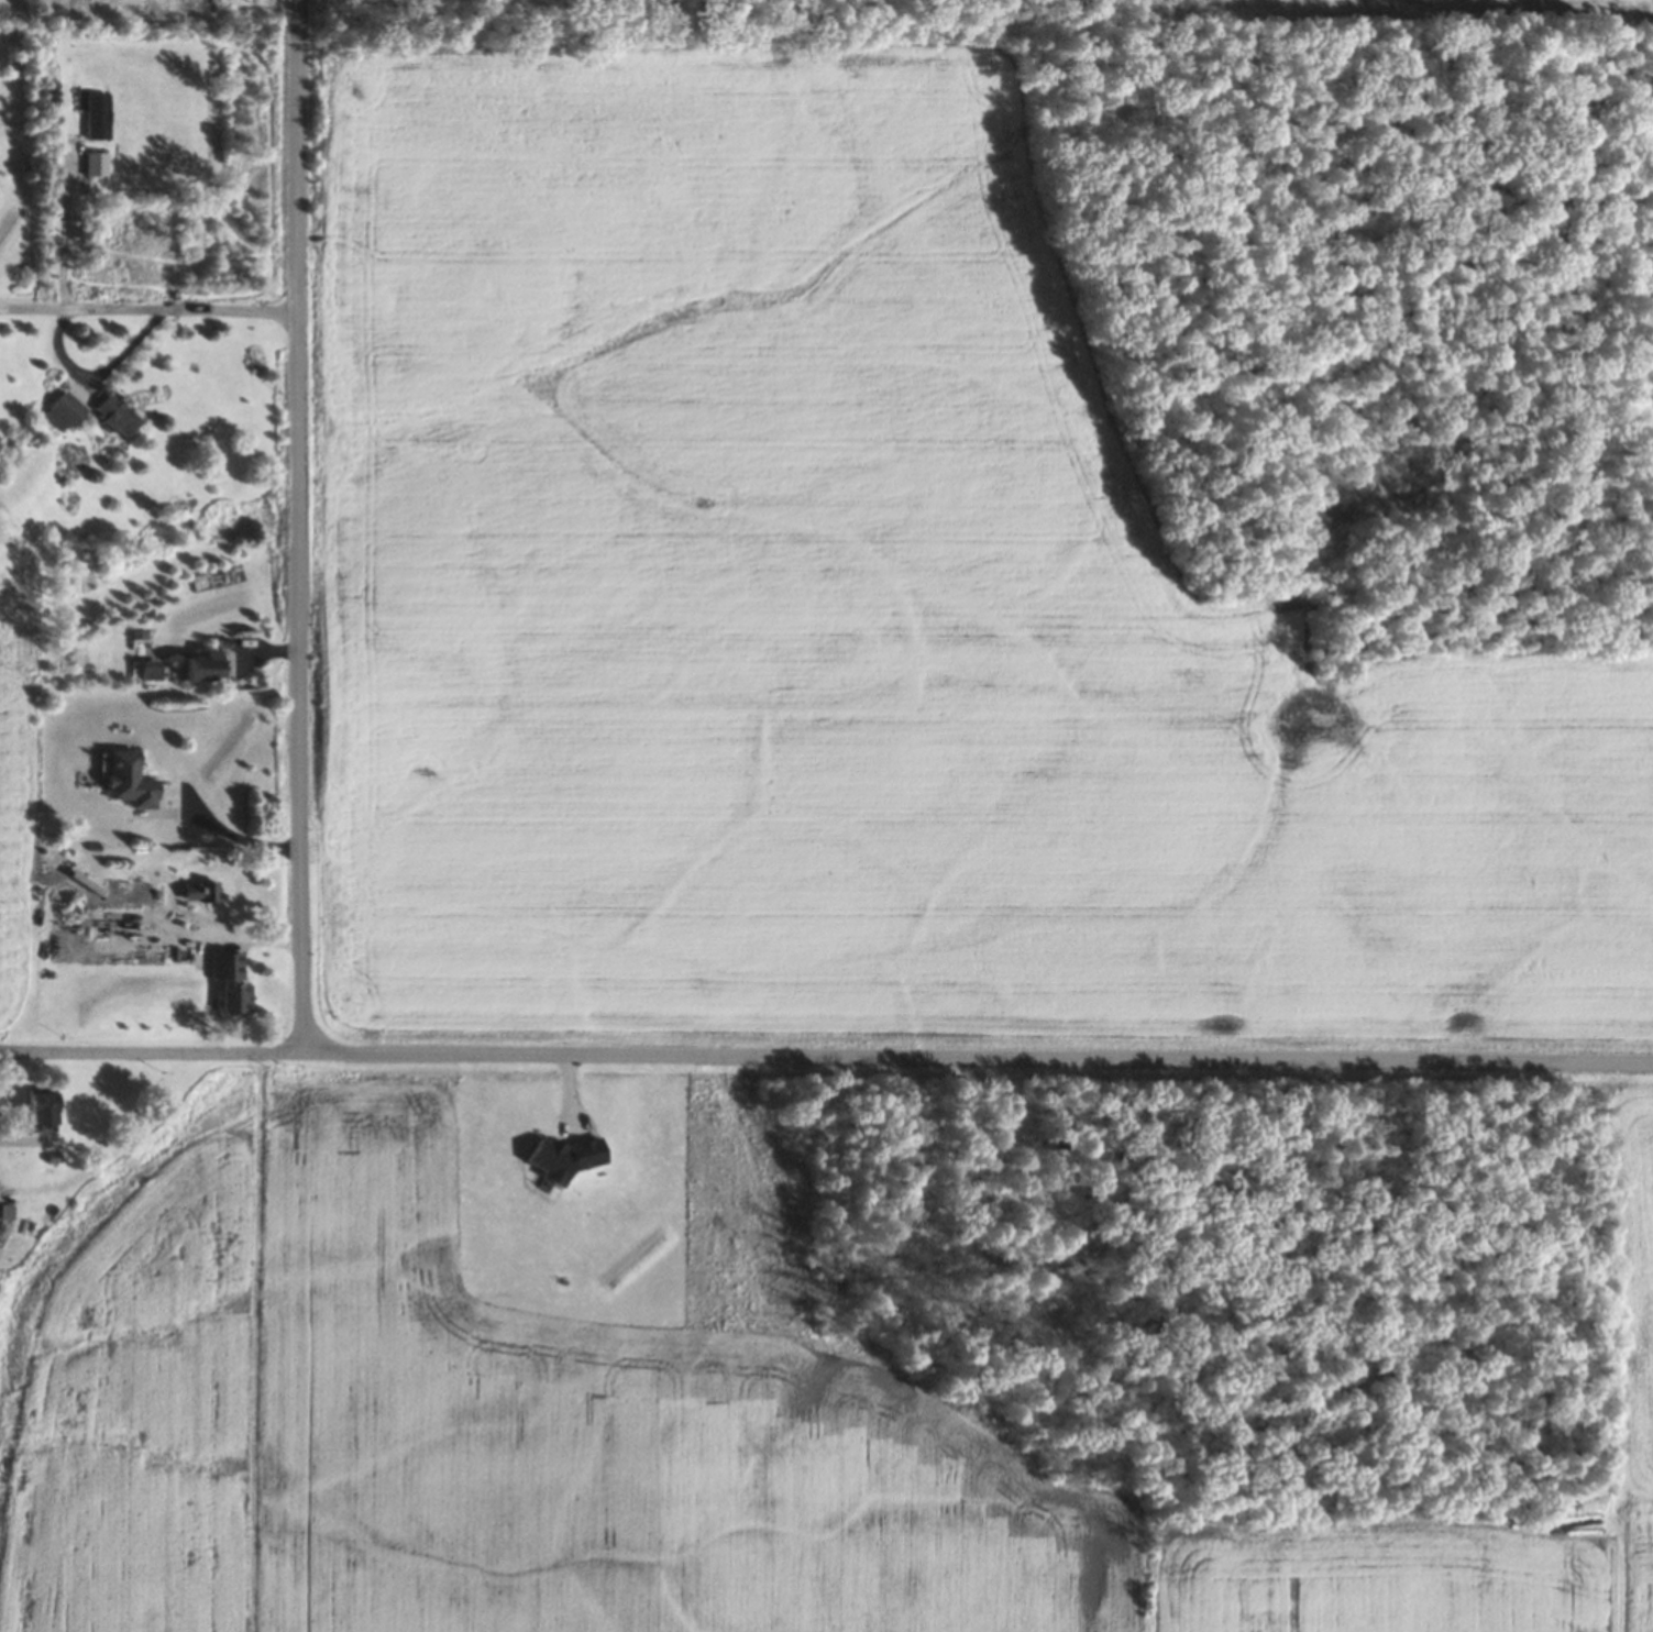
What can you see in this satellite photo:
building: (97, 114)
building: (96, 163)
road: (148, 310)
building: (65, 411)
building: (119, 415)
road: (297, 527)
building: (207, 665)
building: (152, 668)
building: (129, 780)
road: (233, 836)
building: (207, 891)
building: (230, 979)
road: (826, 1057)
building: (43, 1109)

